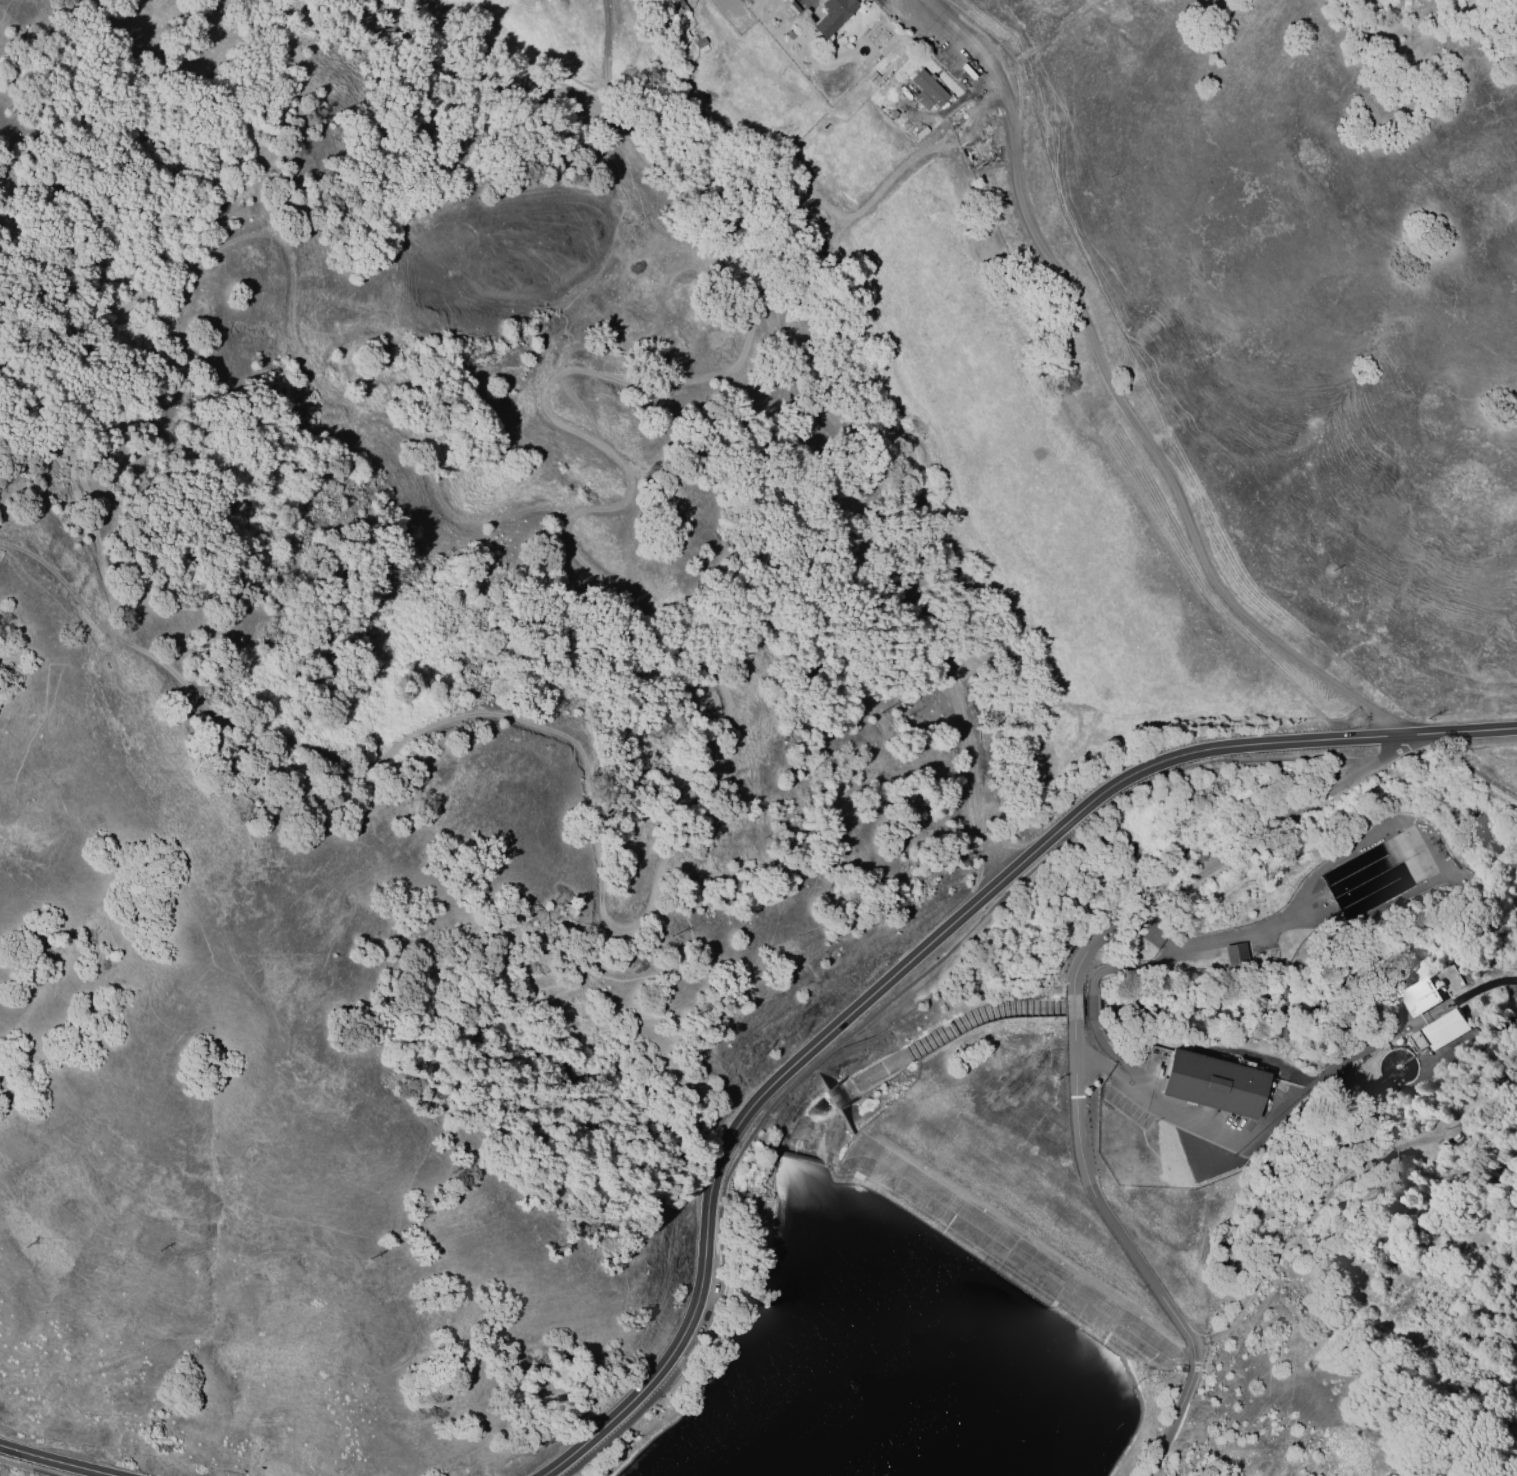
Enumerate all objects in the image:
building: (832, 15)
building: (927, 89)
road: (1118, 401)
crop: (1174, 409)
road: (1473, 765)
road: (1214, 836)
building: (1373, 875)
road: (1264, 933)
road: (925, 952)
building: (1234, 953)
building: (1511, 989)
river: (1314, 991)
building: (1418, 997)
road: (1076, 1006)
building: (1440, 1030)
river: (927, 1047)
building: (1212, 1082)
road: (1260, 1132)
road: (1303, 1226)
road: (1137, 1250)
dam: (980, 1256)
park: (1377, 1336)
road: (50, 1462)

